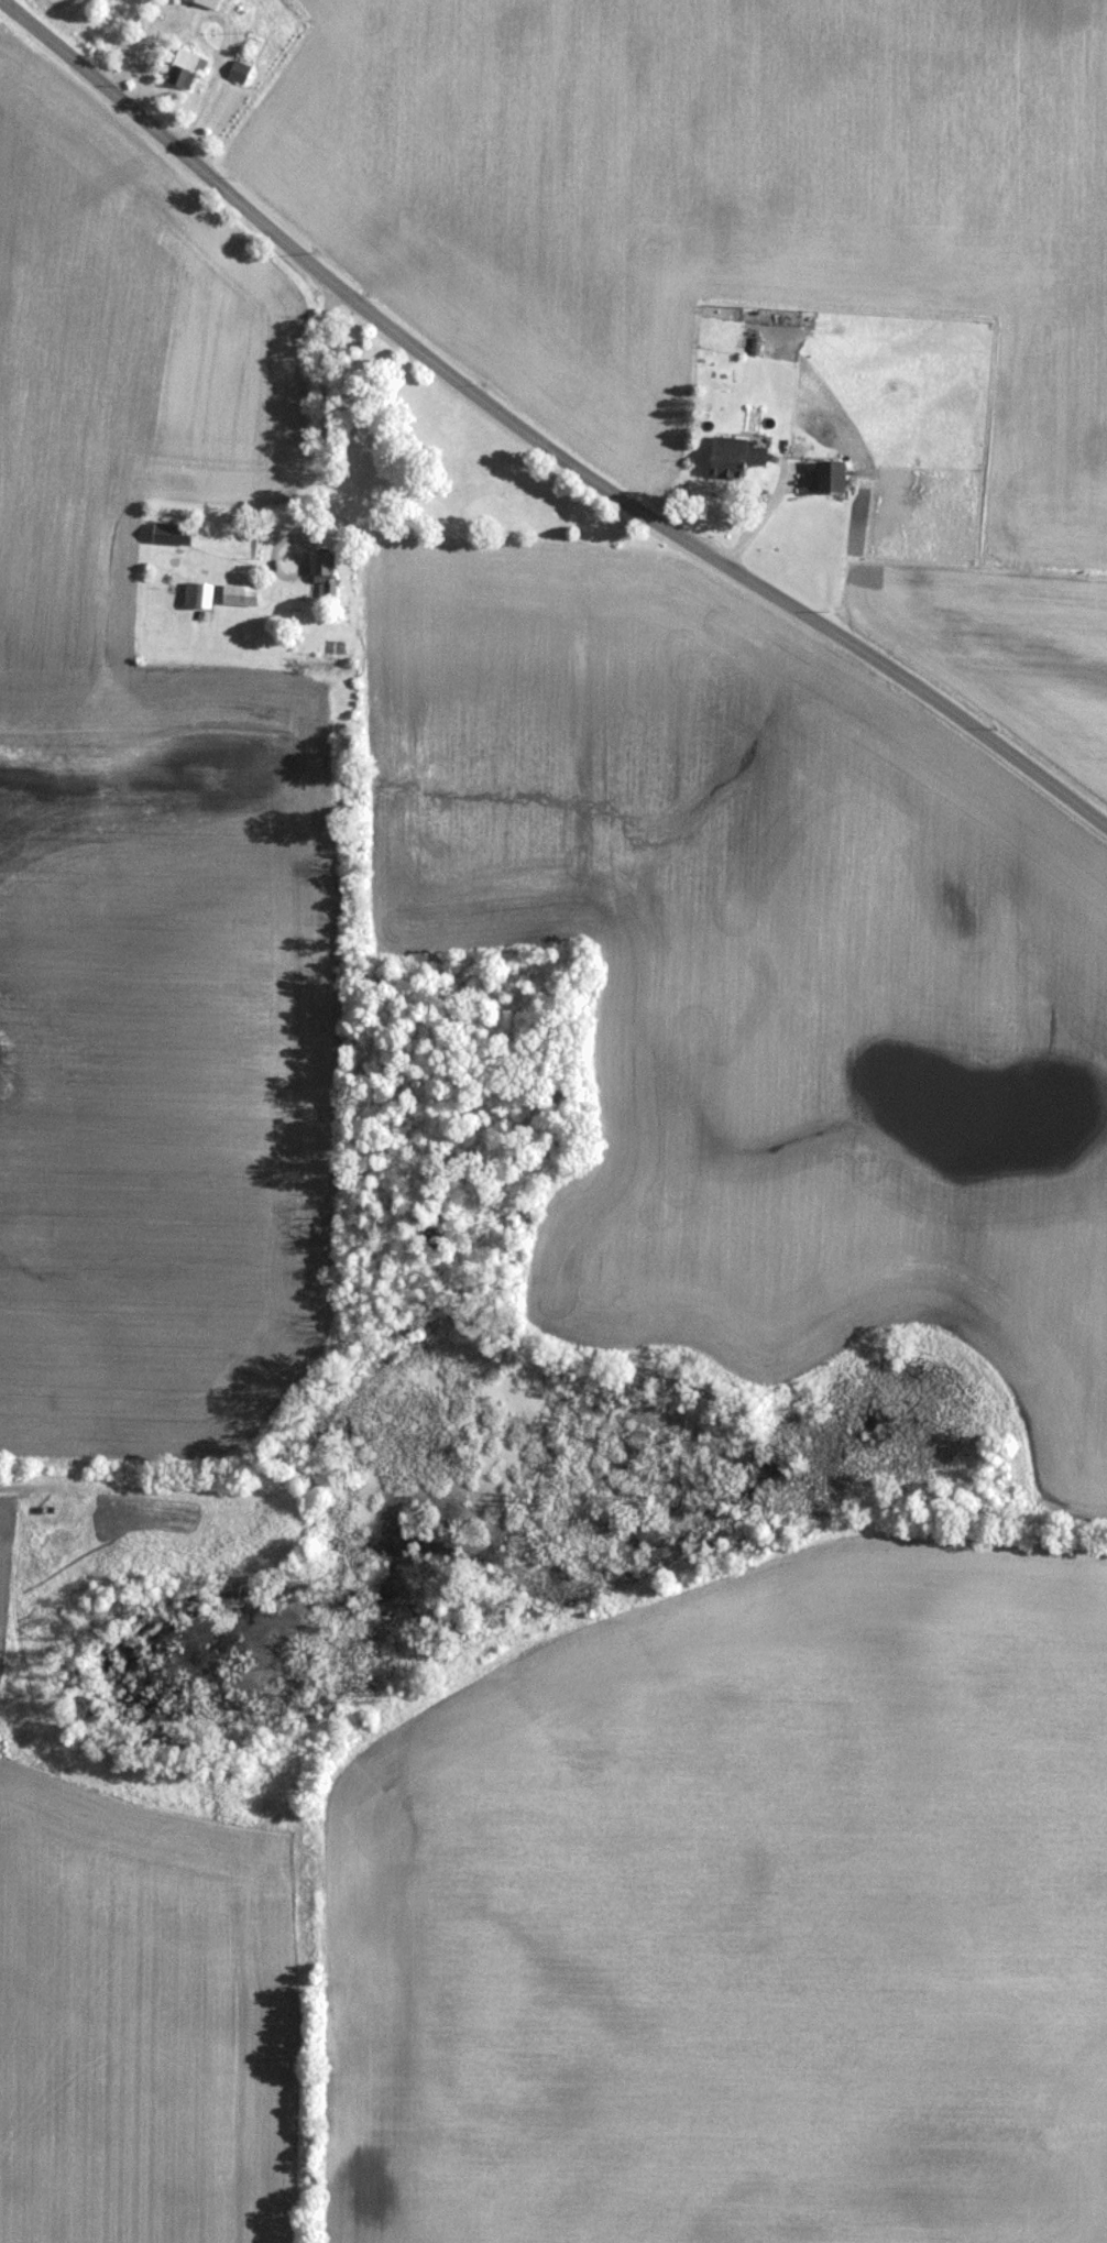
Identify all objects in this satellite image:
building: (204, 2)
road: (53, 4)
road: (219, 54)
building: (179, 66)
building: (235, 70)
road: (320, 411)
road: (535, 438)
building: (166, 533)
building: (234, 593)

